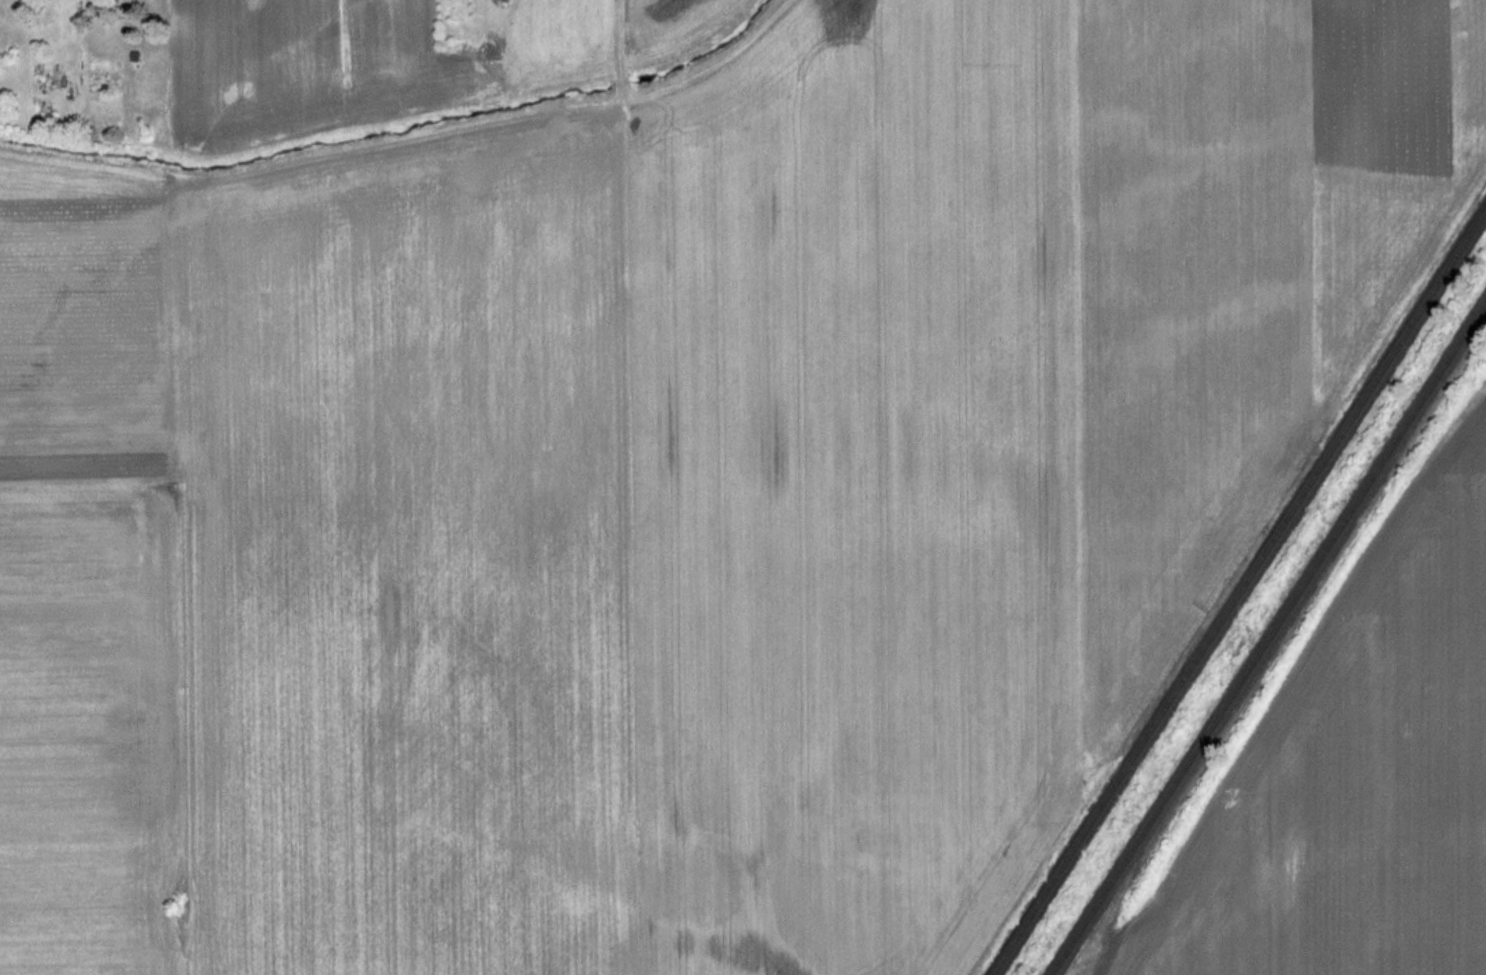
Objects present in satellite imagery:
railway: (1239, 590)
railway: (1268, 636)
crop: (1354, 772)

